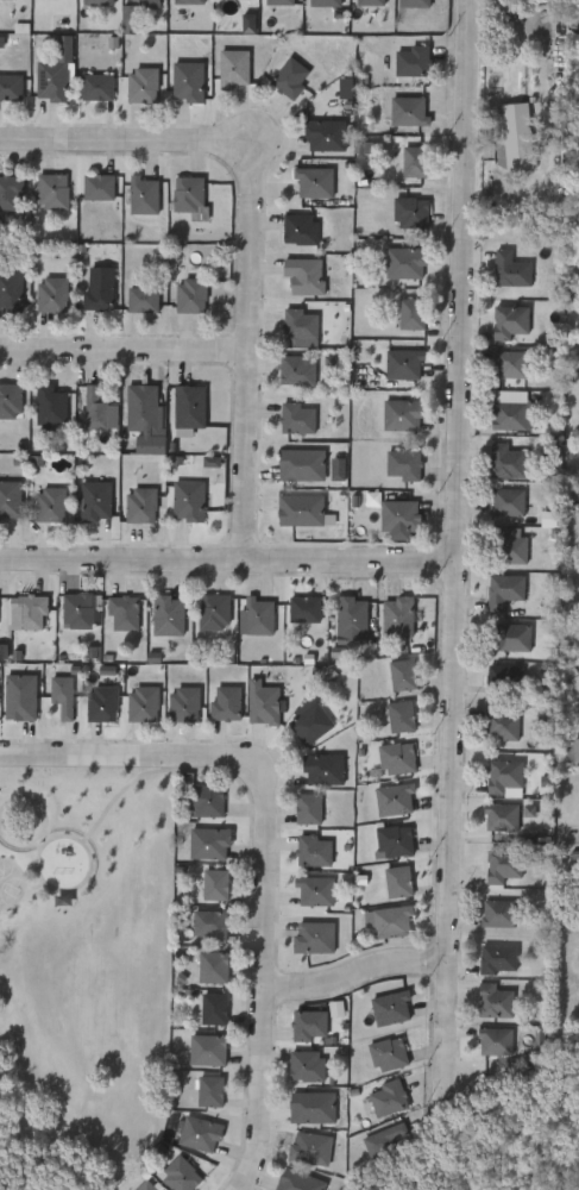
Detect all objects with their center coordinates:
building: (149, 0)
building: (6, 1)
building: (42, 1)
building: (97, 1)
building: (133, 2)
building: (193, 2)
building: (224, 2)
building: (279, 2)
building: (373, 2)
building: (328, 4)
building: (418, 4)
building: (119, 25)
building: (238, 30)
building: (416, 61)
building: (237, 69)
building: (224, 75)
building: (290, 79)
building: (52, 81)
building: (189, 81)
building: (143, 84)
building: (11, 88)
building: (97, 88)
building: (335, 94)
building: (409, 112)
building: (326, 134)
road: (248, 143)
building: (415, 162)
building: (403, 168)
building: (315, 182)
building: (101, 187)
building: (10, 192)
building: (55, 192)
building: (88, 194)
building: (145, 196)
building: (42, 198)
building: (193, 198)
building: (177, 201)
building: (414, 212)
building: (401, 219)
building: (300, 230)
road: (250, 233)
building: (405, 259)
building: (508, 268)
building: (304, 276)
building: (11, 290)
building: (101, 290)
building: (191, 295)
building: (54, 296)
building: (88, 296)
building: (143, 300)
building: (411, 314)
building: (401, 320)
building: (510, 321)
building: (300, 325)
road: (122, 351)
building: (407, 363)
building: (511, 364)
building: (392, 370)
building: (498, 370)
building: (297, 371)
building: (11, 401)
building: (191, 406)
building: (52, 407)
building: (144, 407)
building: (97, 411)
building: (515, 411)
building: (180, 413)
building: (39, 414)
building: (403, 415)
building: (297, 419)
building: (153, 444)
building: (508, 462)
building: (302, 465)
building: (404, 465)
building: (200, 468)
building: (10, 500)
building: (97, 500)
building: (190, 501)
building: (509, 503)
building: (52, 505)
building: (144, 506)
building: (177, 507)
building: (301, 511)
building: (40, 512)
building: (131, 512)
building: (399, 519)
building: (512, 550)
road: (457, 552)
road: (227, 559)
building: (504, 591)
building: (308, 609)
building: (33, 612)
building: (81, 612)
building: (124, 613)
building: (214, 613)
building: (295, 615)
building: (168, 616)
building: (20, 618)
building: (67, 618)
building: (259, 618)
building: (398, 618)
building: (352, 621)
building: (514, 638)
building: (407, 675)
building: (504, 679)
building: (392, 681)
building: (0, 691)
building: (65, 696)
building: (23, 697)
building: (52, 701)
building: (102, 704)
building: (228, 704)
building: (264, 704)
building: (144, 706)
building: (184, 706)
building: (216, 709)
building: (401, 716)
building: (313, 725)
building: (503, 727)
building: (573, 752)
building: (401, 758)
building: (325, 769)
building: (506, 776)
building: (395, 800)
building: (210, 801)
building: (196, 807)
building: (309, 808)
building: (298, 814)
building: (502, 819)
building: (395, 840)
building: (209, 843)
building: (314, 850)
road: (265, 852)
building: (302, 857)
building: (503, 868)
building: (399, 882)
building: (215, 884)
building: (388, 887)
building: (206, 890)
building: (316, 890)
building: (499, 914)
building: (392, 921)
building: (213, 926)
building: (199, 929)
building: (314, 938)
building: (498, 958)
building: (213, 967)
road: (354, 973)
building: (496, 1001)
building: (214, 1008)
building: (391, 1008)
building: (204, 1014)
building: (311, 1026)
building: (496, 1040)
building: (485, 1047)
building: (208, 1050)
building: (391, 1054)
building: (308, 1066)
building: (210, 1090)
building: (200, 1096)
building: (390, 1098)
building: (315, 1107)
building: (201, 1134)
building: (386, 1140)
building: (310, 1150)
building: (180, 1175)
building: (145, 1180)
building: (301, 1180)
building: (134, 1188)

